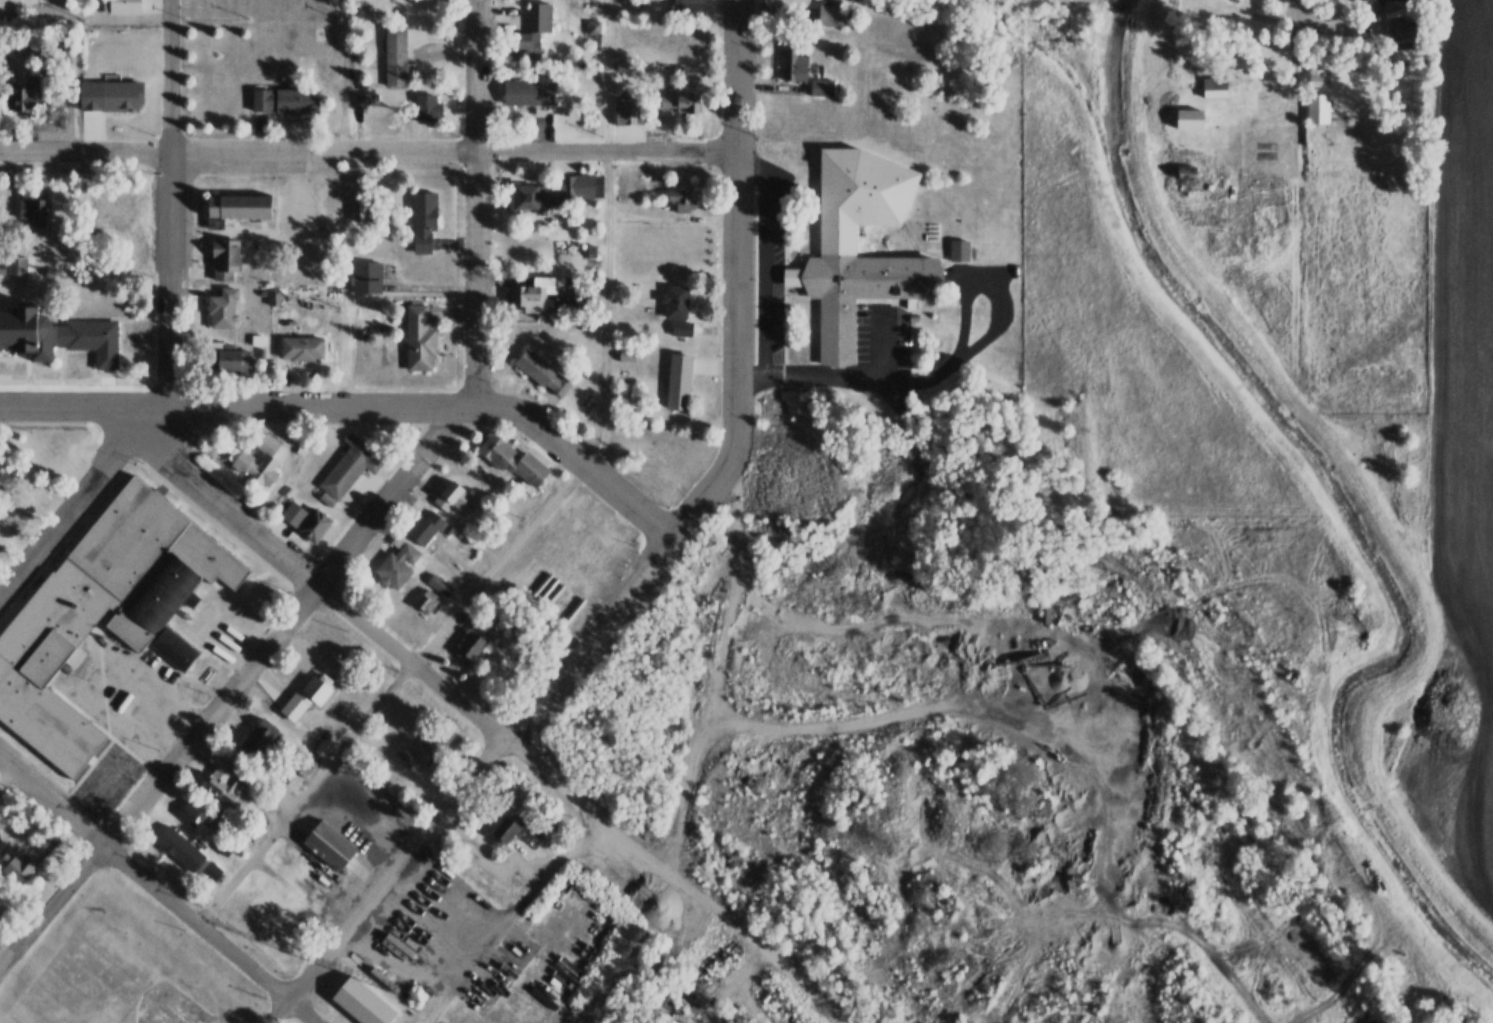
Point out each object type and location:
building: (1234, 0)
building: (1406, 0)
building: (116, 7)
building: (688, 10)
building: (830, 12)
building: (540, 17)
building: (594, 27)
building: (1402, 36)
building: (519, 47)
building: (396, 54)
building: (795, 64)
building: (823, 86)
building: (1216, 87)
building: (528, 91)
building: (110, 93)
building: (21, 97)
building: (280, 99)
building: (363, 99)
building: (682, 101)
building: (426, 106)
building: (1318, 108)
building: (625, 110)
building: (1189, 117)
road: (368, 148)
road: (194, 175)
road: (295, 179)
building: (1186, 181)
building: (576, 185)
building: (529, 195)
building: (682, 198)
road: (169, 204)
building: (238, 204)
building: (359, 209)
building: (32, 210)
building: (422, 218)
road: (262, 230)
building: (958, 248)
building: (224, 257)
road: (763, 259)
road: (784, 261)
building: (871, 264)
building: (14, 266)
road: (753, 266)
road: (790, 275)
building: (366, 277)
road: (736, 277)
road: (154, 279)
building: (535, 289)
building: (275, 297)
building: (223, 305)
building: (676, 307)
road: (489, 324)
road: (454, 331)
building: (57, 334)
building: (418, 338)
road: (188, 347)
building: (301, 348)
building: (626, 355)
building: (232, 358)
road: (29, 366)
road: (62, 366)
building: (542, 370)
road: (750, 377)
road: (29, 378)
road: (858, 379)
building: (676, 380)
road: (112, 387)
road: (501, 389)
road: (231, 405)
road: (98, 436)
road: (573, 455)
building: (511, 459)
building: (259, 461)
building: (350, 463)
road: (36, 467)
road: (110, 481)
building: (451, 495)
road: (77, 497)
building: (306, 519)
building: (425, 525)
road: (217, 527)
road: (362, 528)
road: (494, 569)
building: (393, 570)
road: (311, 580)
building: (440, 585)
road: (240, 591)
building: (426, 601)
building: (99, 609)
building: (476, 640)
building: (173, 645)
road: (1051, 672)
building: (312, 691)
road: (103, 704)
building: (374, 726)
road: (705, 726)
road: (854, 729)
building: (259, 734)
building: (415, 748)
road: (132, 754)
building: (303, 763)
road: (7, 776)
road: (468, 777)
park: (107, 780)
building: (222, 784)
road: (61, 788)
building: (190, 810)
building: (363, 824)
building: (503, 827)
building: (328, 843)
building: (177, 845)
building: (223, 845)
building: (20, 866)
building: (210, 868)
road: (676, 876)
road: (157, 890)
road: (199, 898)
building: (264, 907)
building: (1, 909)
road: (509, 919)
building: (378, 965)
park: (102, 979)
park: (129, 984)
building: (361, 1001)

